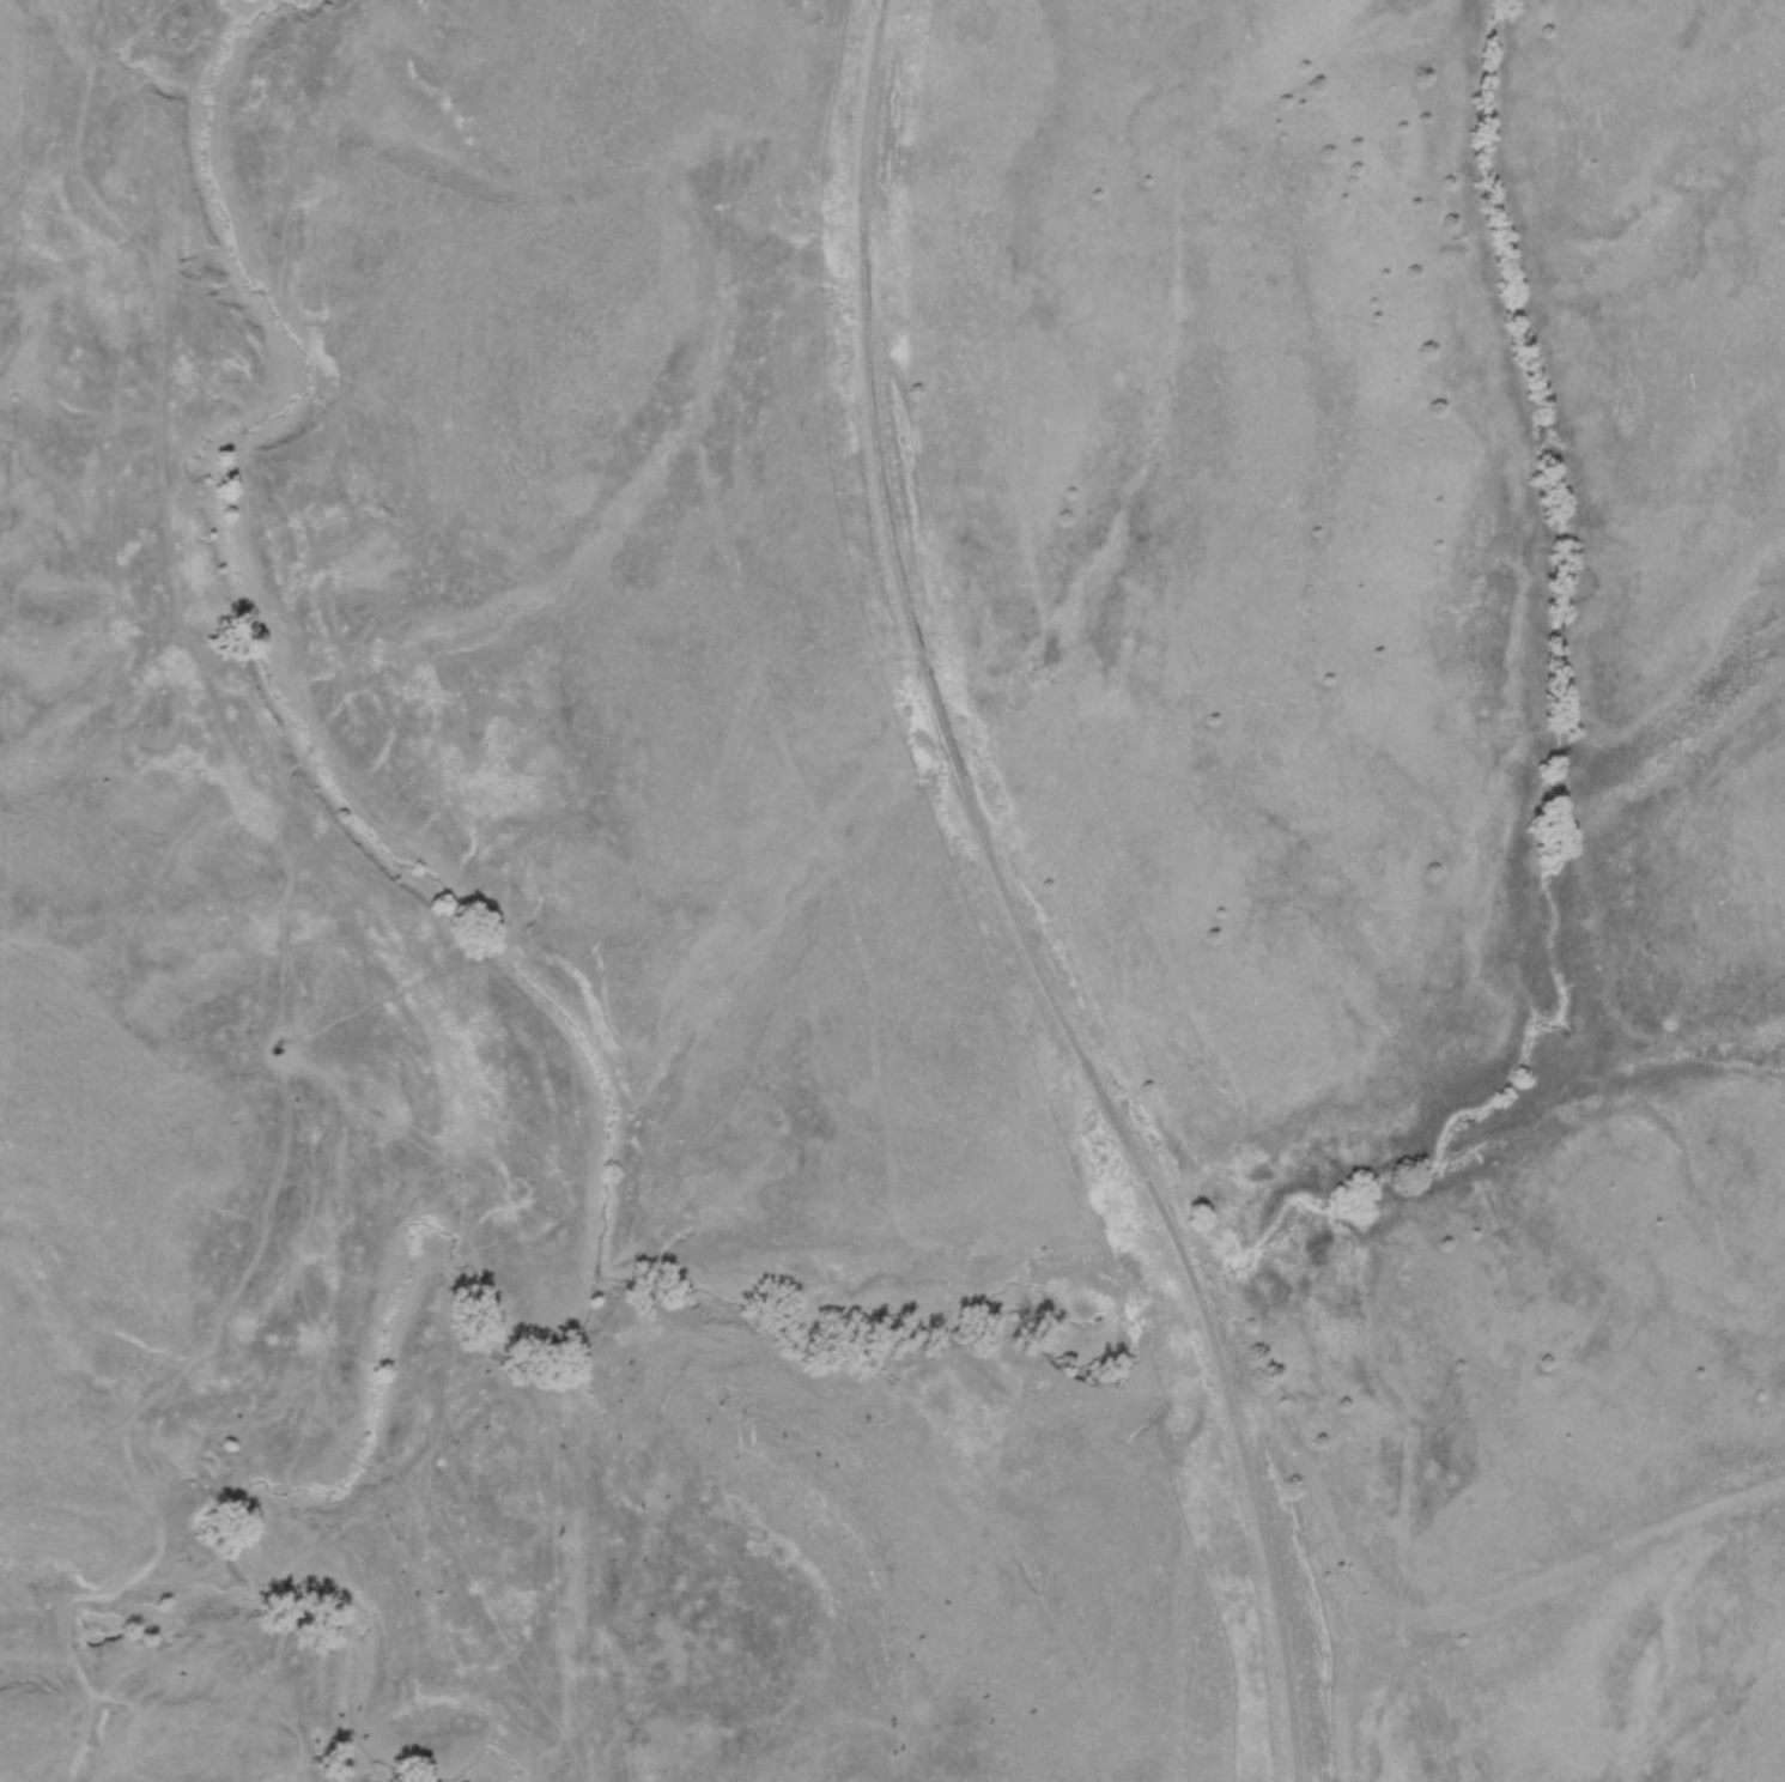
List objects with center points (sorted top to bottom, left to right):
railway: (1019, 904)

